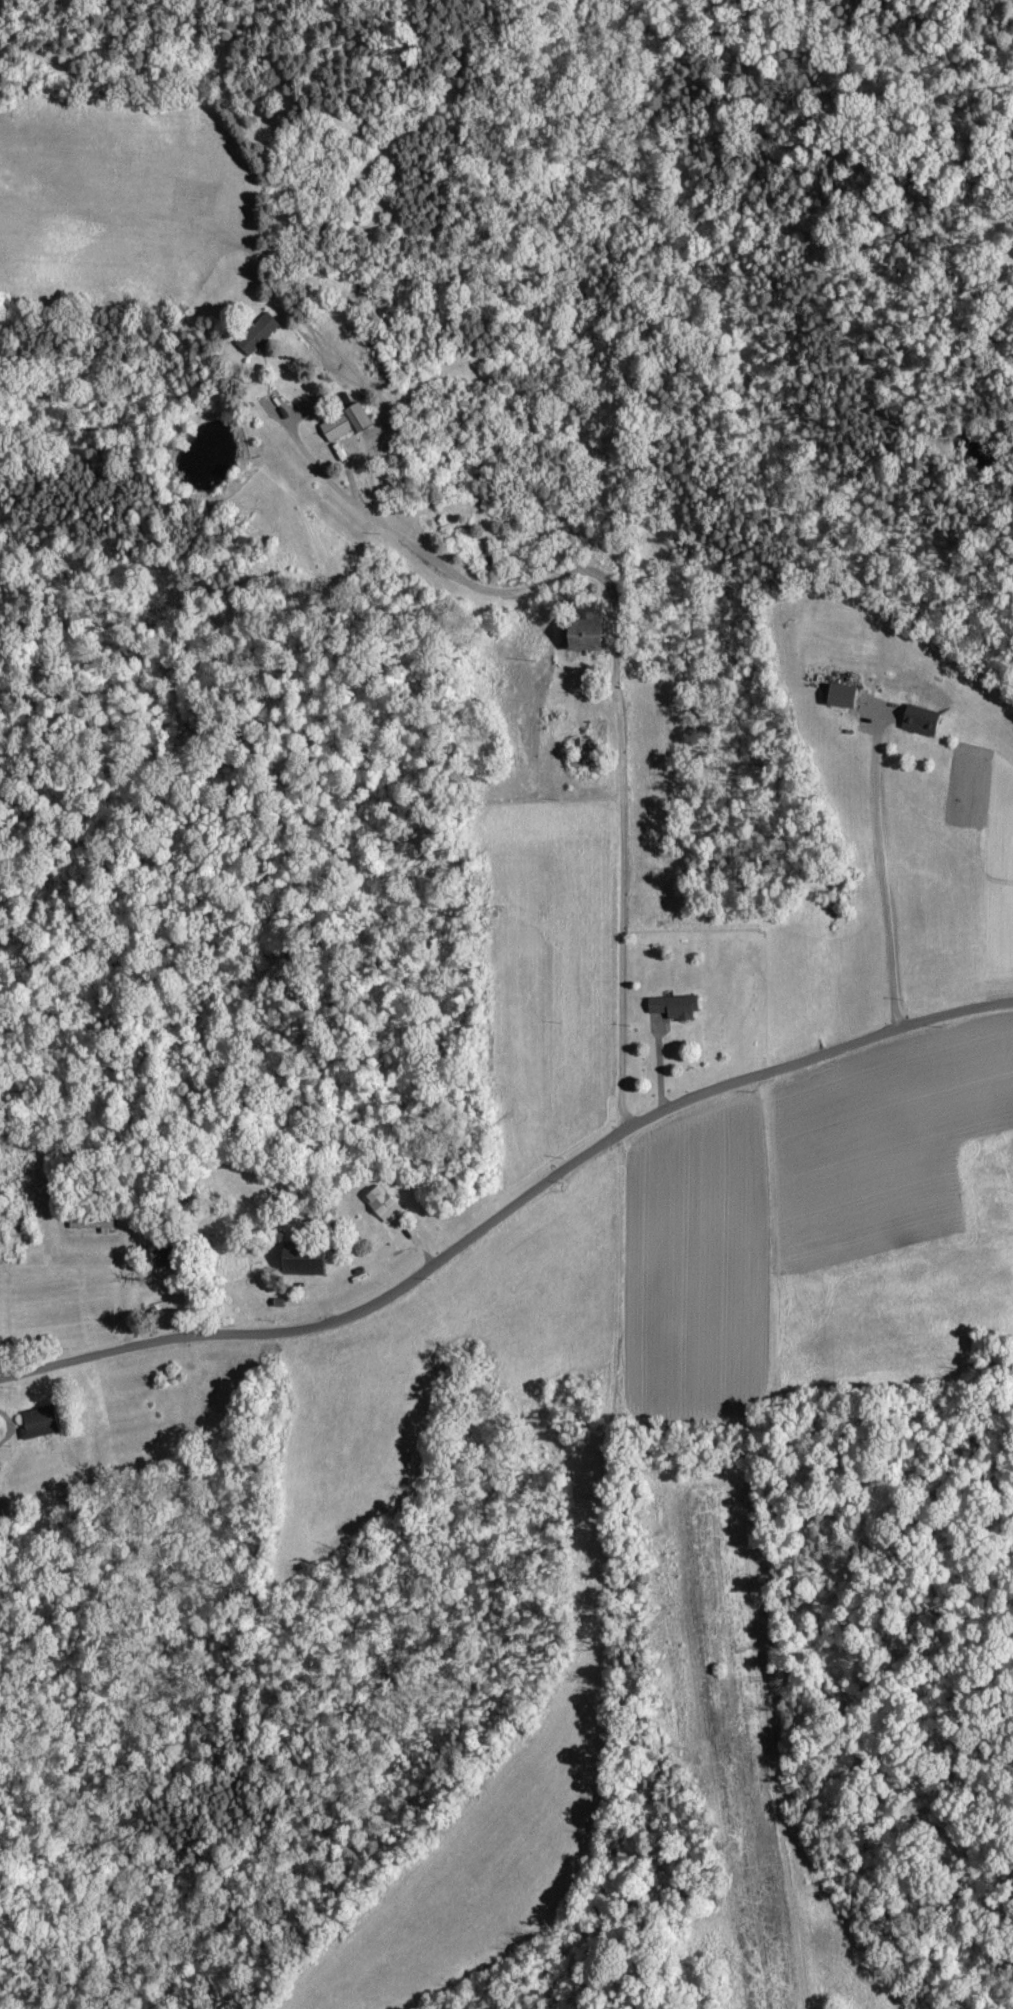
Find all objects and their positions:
building: (253, 334)
building: (341, 423)
road: (624, 688)
building: (836, 696)
building: (917, 721)
road: (882, 876)
building: (670, 1007)
building: (378, 1204)
road: (509, 1213)
building: (88, 1223)
building: (35, 1423)

